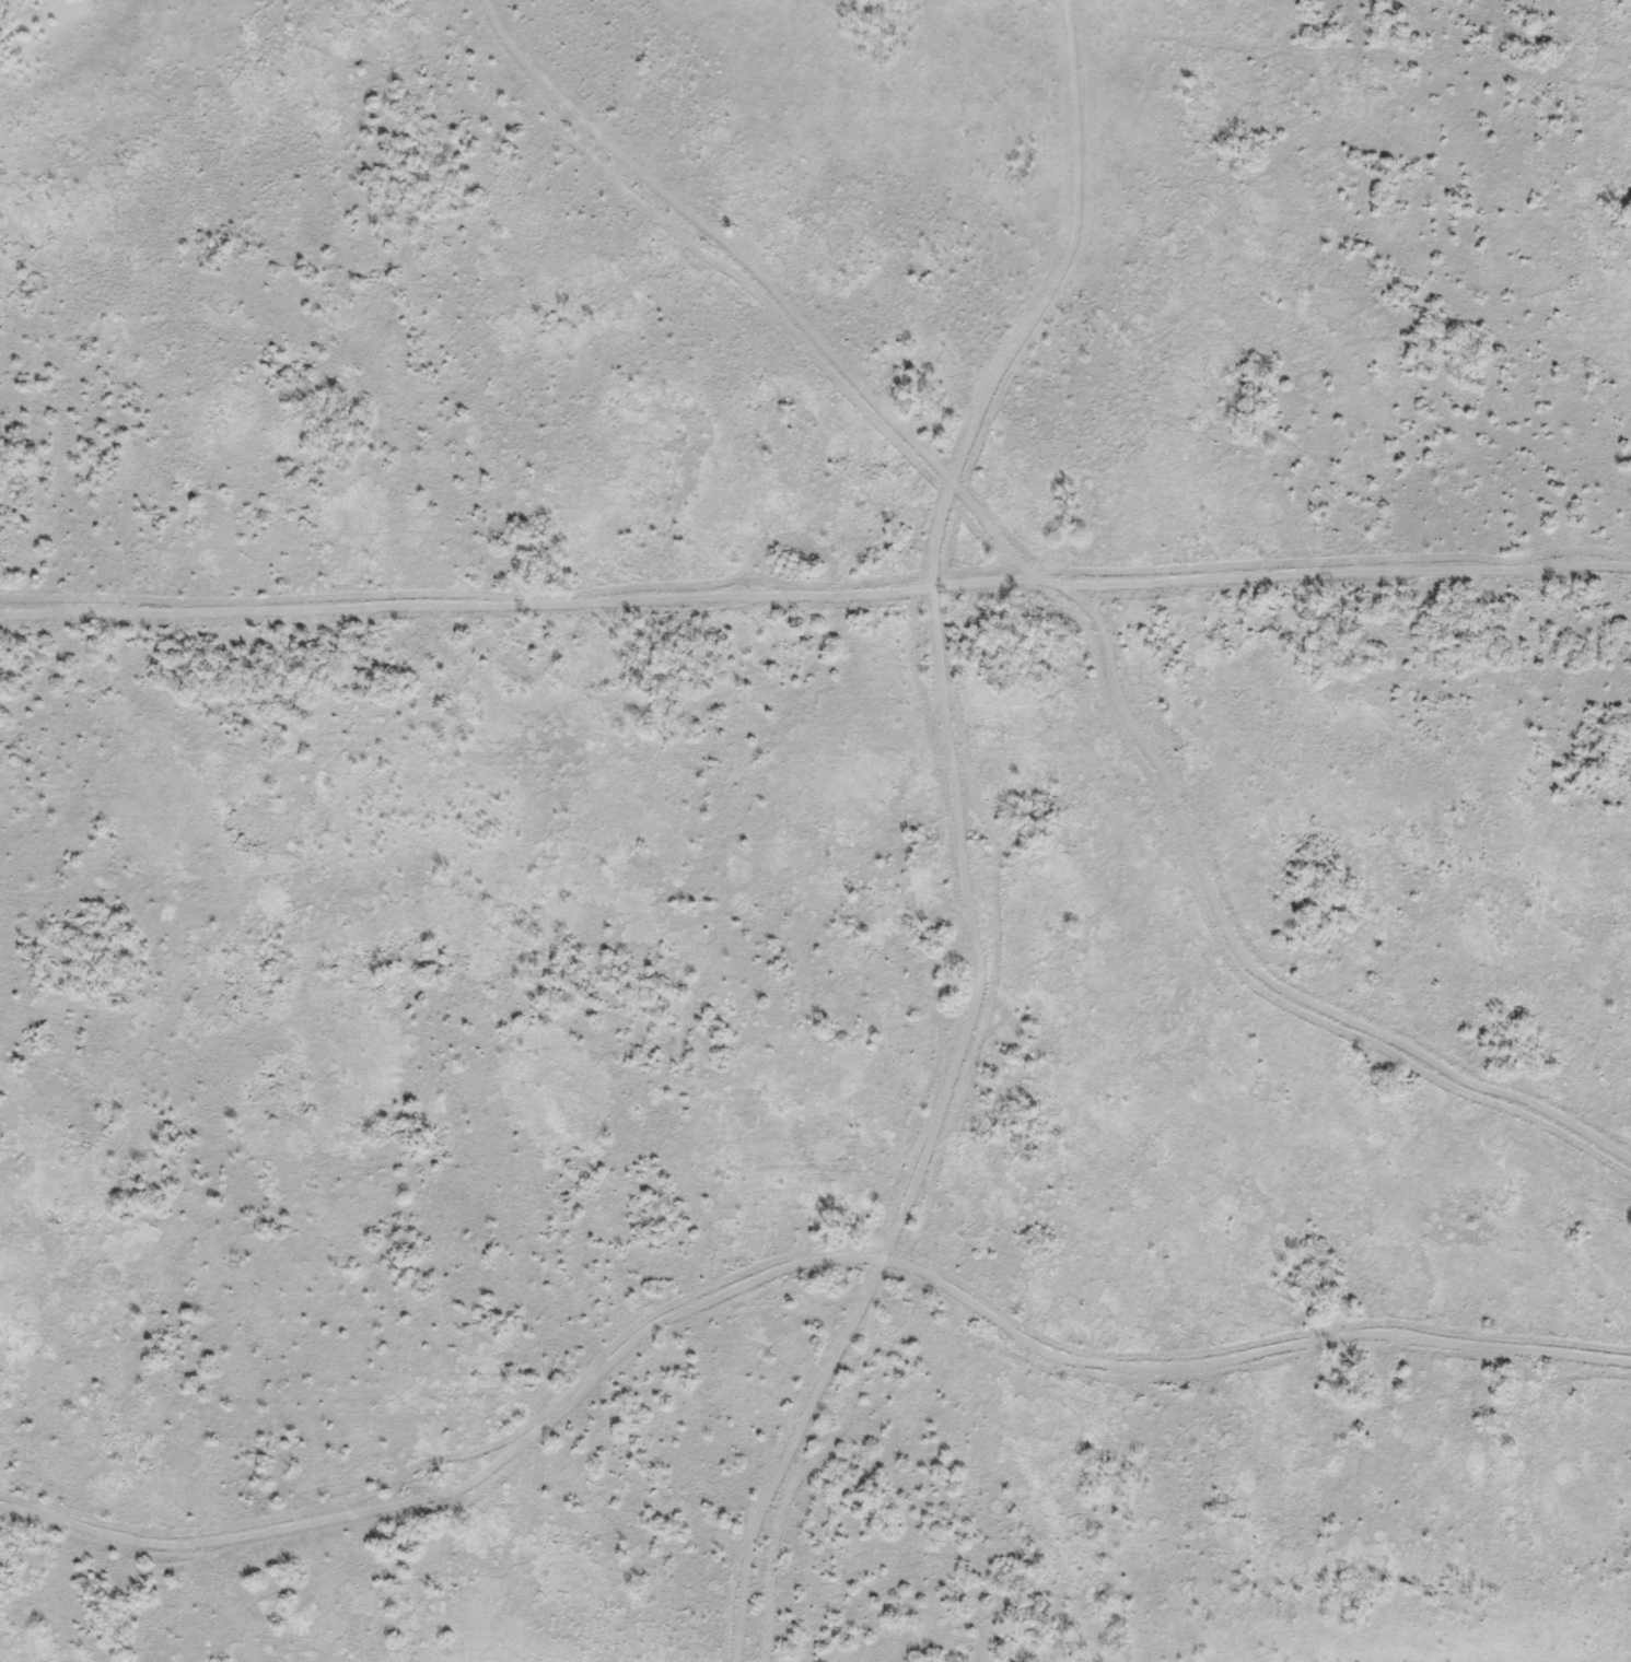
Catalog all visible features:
road: (1088, 585)

